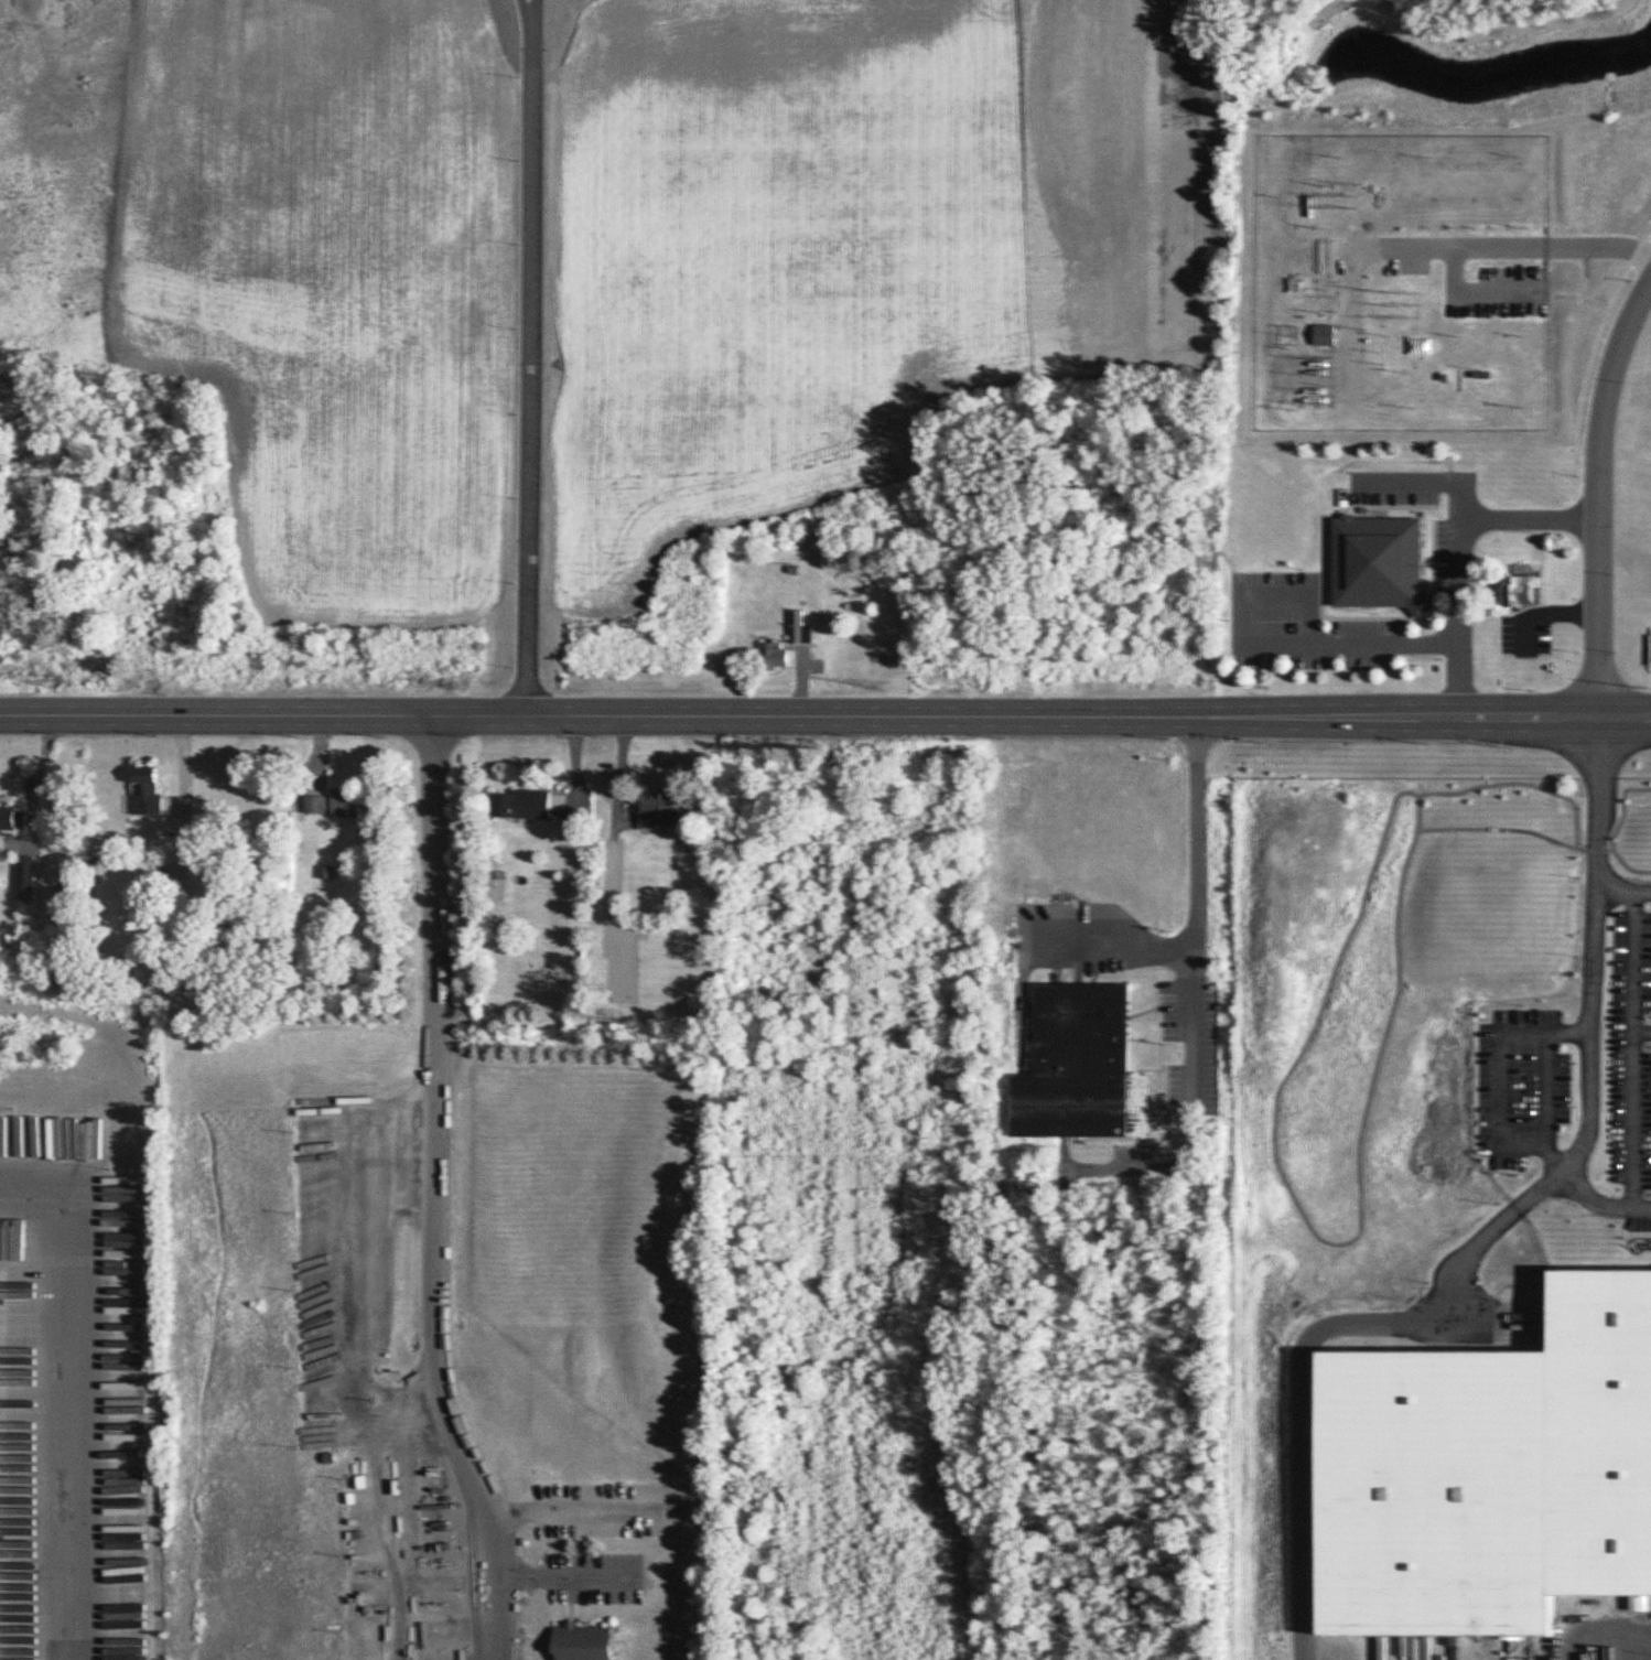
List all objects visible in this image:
road: (1460, 245)
road: (1471, 291)
building: (1324, 314)
road: (1598, 317)
building: (1325, 334)
road: (526, 356)
road: (1360, 475)
road: (1394, 485)
road: (1601, 495)
road: (1446, 499)
road: (1464, 499)
building: (1380, 537)
road: (1535, 549)
building: (1523, 590)
road: (1368, 597)
road: (1554, 597)
road: (1459, 604)
road: (1264, 621)
building: (799, 627)
building: (774, 655)
road: (825, 712)
road: (622, 772)
building: (149, 790)
building: (337, 802)
building: (524, 804)
building: (662, 807)
building: (13, 818)
road: (1623, 876)
building: (26, 877)
road: (1122, 940)
road: (1593, 947)
road: (1629, 957)
road: (1196, 988)
building: (1082, 1067)
road: (1497, 1075)
road: (1543, 1087)
road: (1633, 1097)
road: (1537, 1188)
road: (430, 1192)
road: (1600, 1198)
road: (1501, 1296)
road: (1503, 1338)
road: (65, 1390)
road: (1511, 1398)
building: (1598, 1404)
road: (1303, 1422)
road: (1509, 1438)
building: (11, 1454)
road: (561, 1581)
road: (1571, 1638)
building: (584, 1642)

